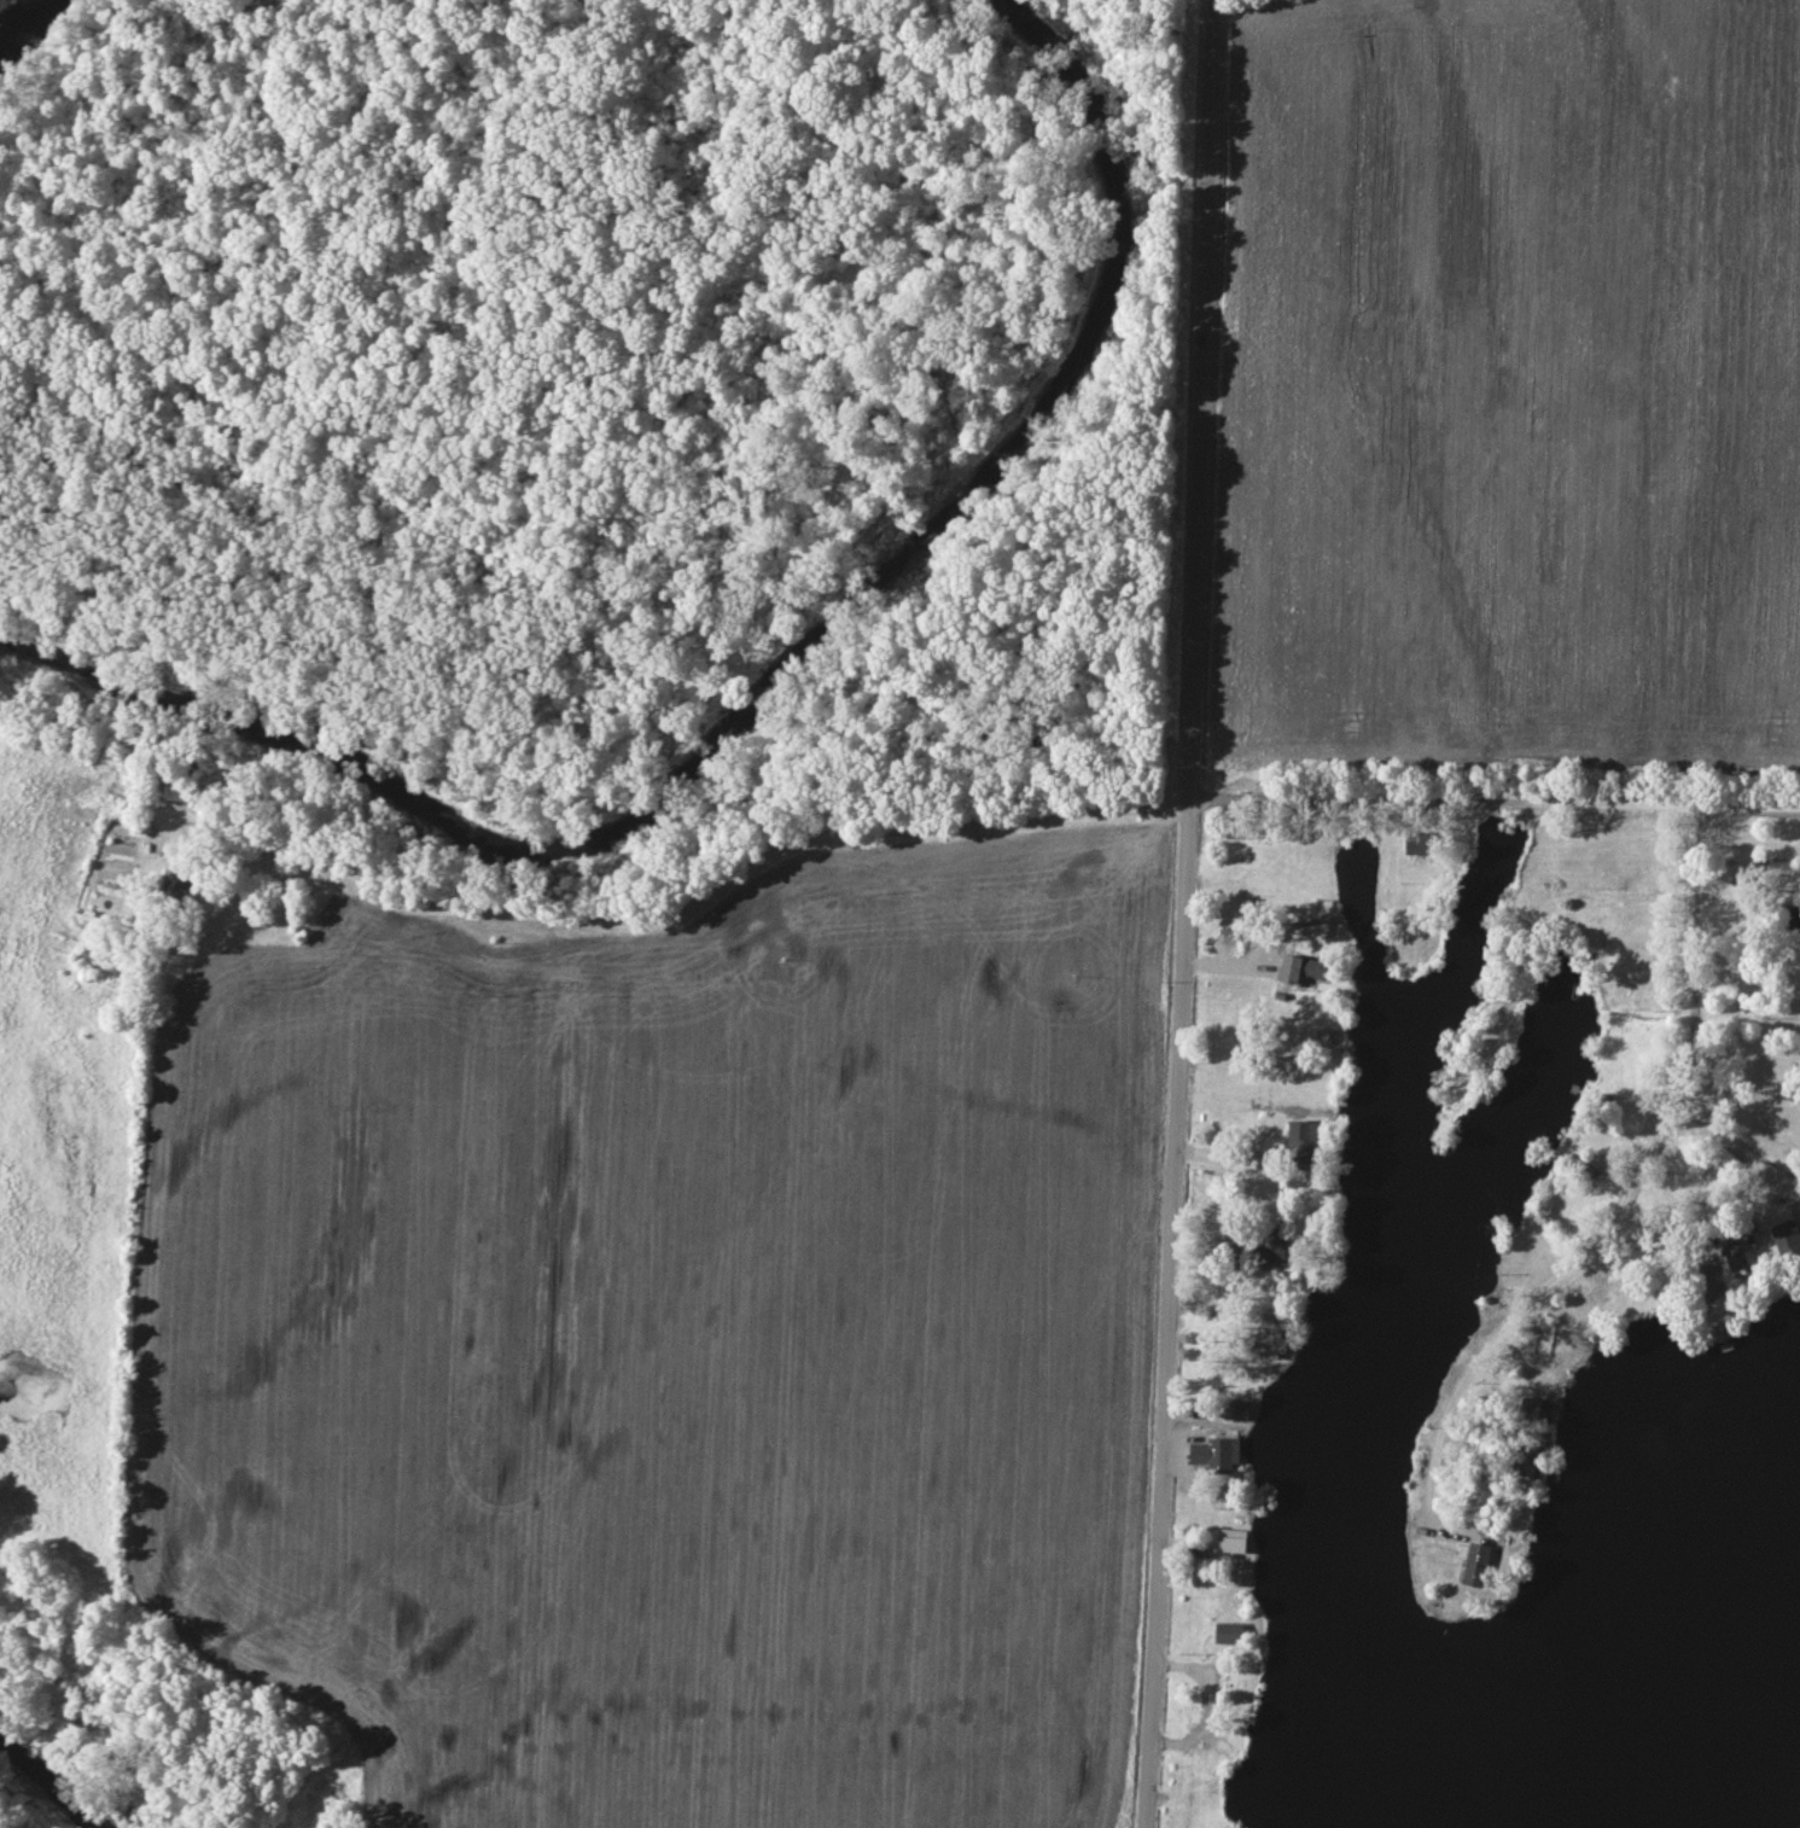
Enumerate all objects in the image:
river: (763, 688)
road: (1495, 804)
building: (1420, 844)
building: (180, 889)
road: (1602, 900)
road: (680, 914)
road: (1184, 914)
building: (1304, 970)
building: (1305, 1142)
road: (1726, 1145)
road: (1629, 1189)
road: (1711, 1219)
building: (1787, 1236)
building: (1254, 1245)
building: (1737, 1254)
building: (1707, 1281)
building: (1274, 1345)
building: (1237, 1411)
building: (1218, 1456)
building: (1525, 1461)
building: (1231, 1538)
building: (1479, 1565)
building: (1231, 1634)
river: (49, 1775)

